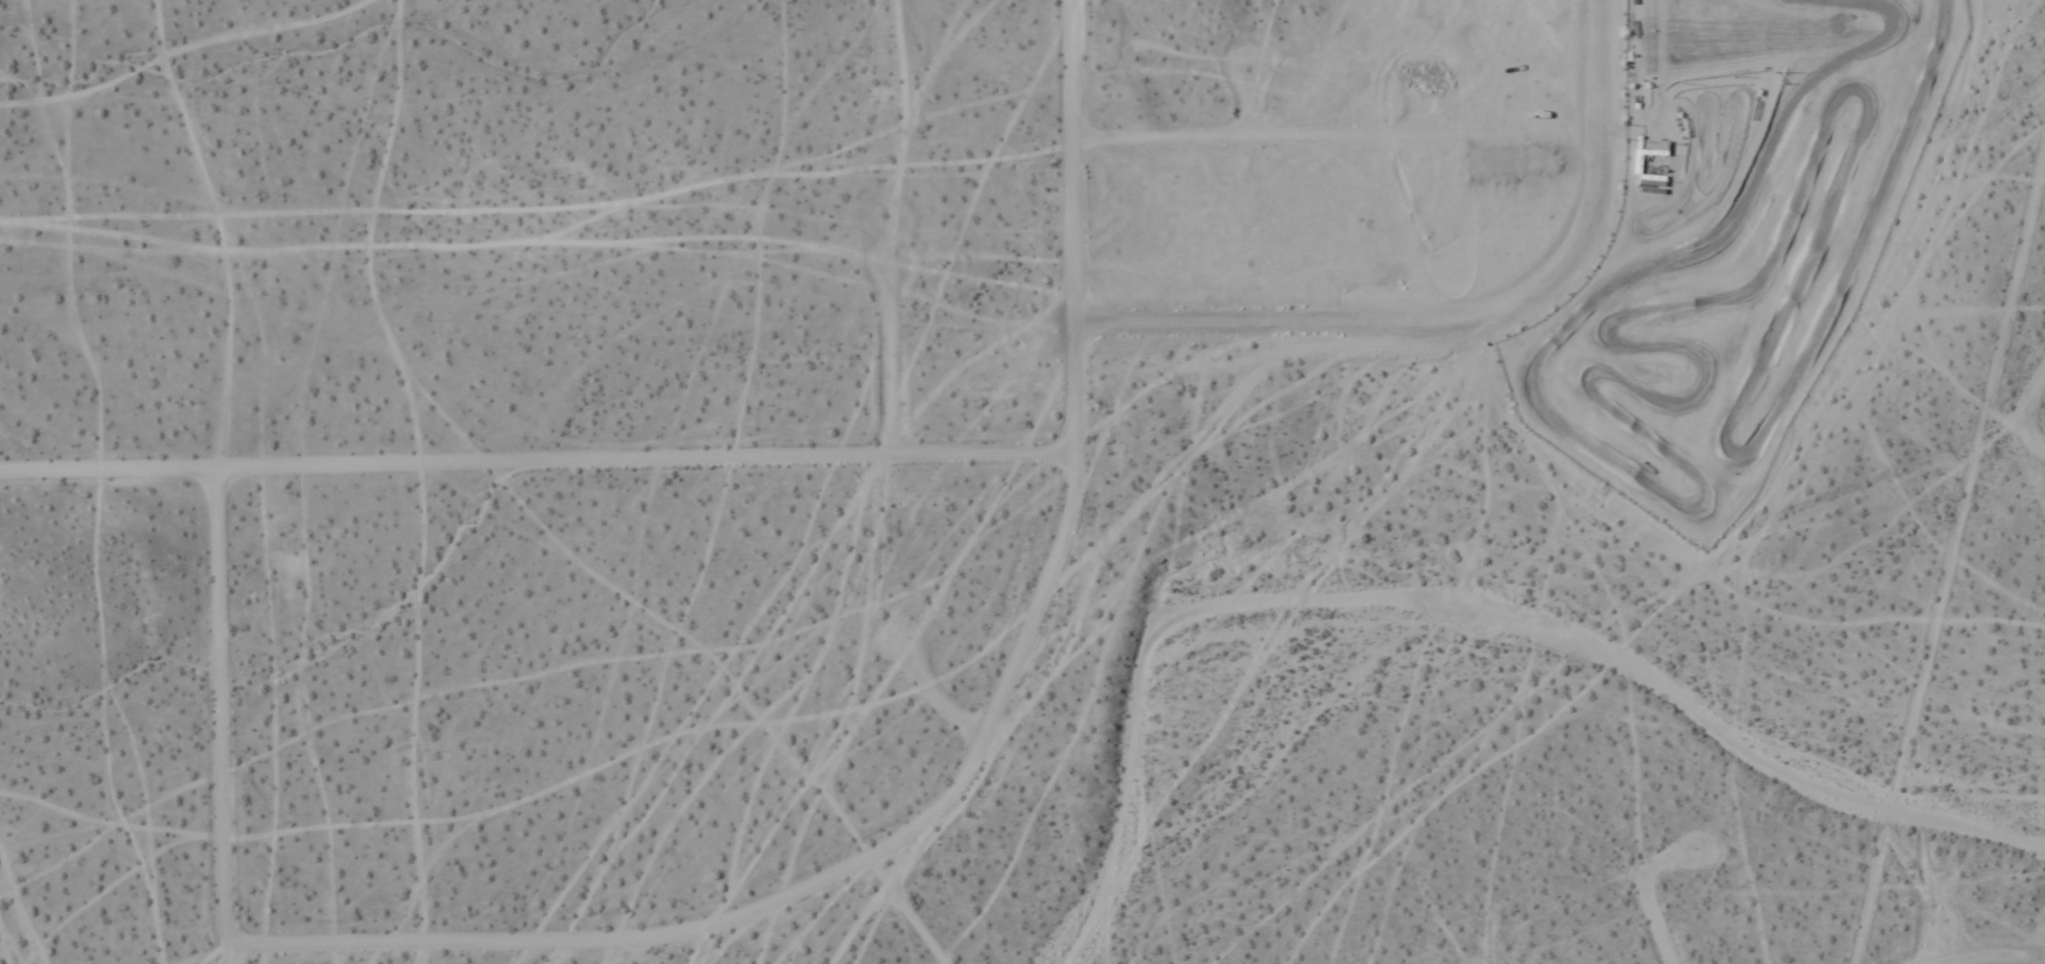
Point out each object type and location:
road: (901, 54)
road: (1596, 70)
road: (1419, 103)
road: (1248, 107)
road: (1334, 141)
building: (1651, 159)
building: (1650, 160)
road: (1395, 326)
road: (890, 351)
road: (2018, 426)
road: (649, 464)
crop: (1061, 507)
raceway: (1680, 518)
road: (937, 702)
road: (221, 703)
road: (964, 780)
road: (1655, 926)
road: (1937, 941)
road: (1991, 957)

